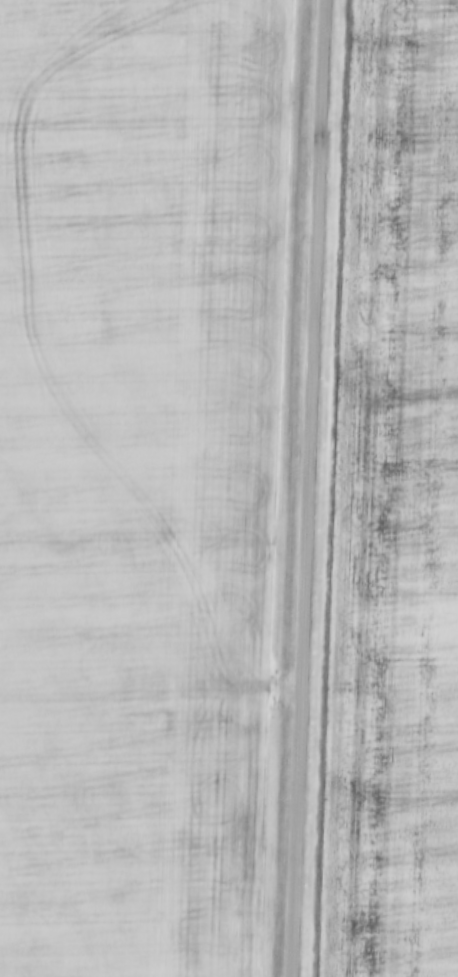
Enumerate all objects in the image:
crop: (144, 179)
road: (308, 488)
crop: (394, 508)
crop: (136, 663)

